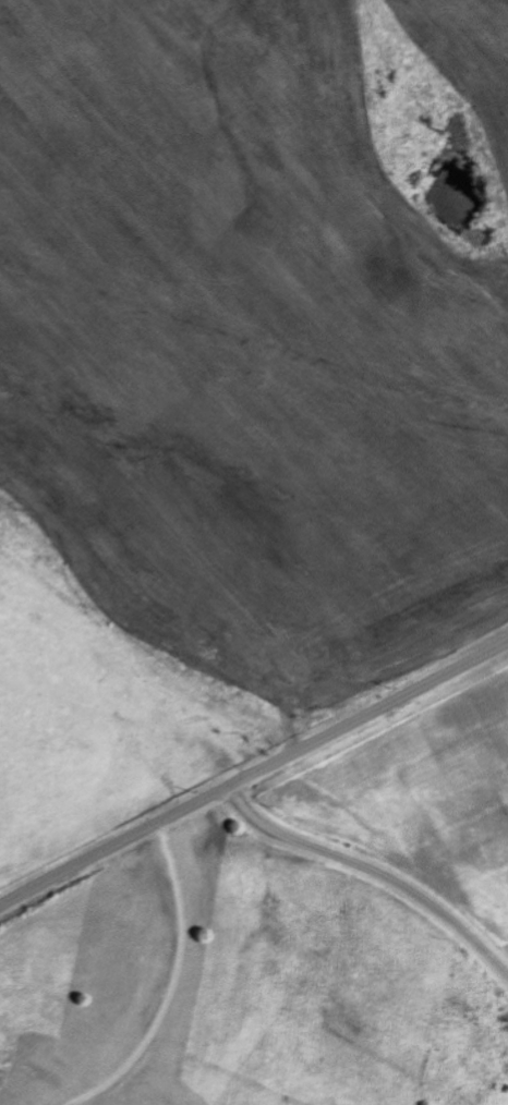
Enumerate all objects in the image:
road: (253, 775)

